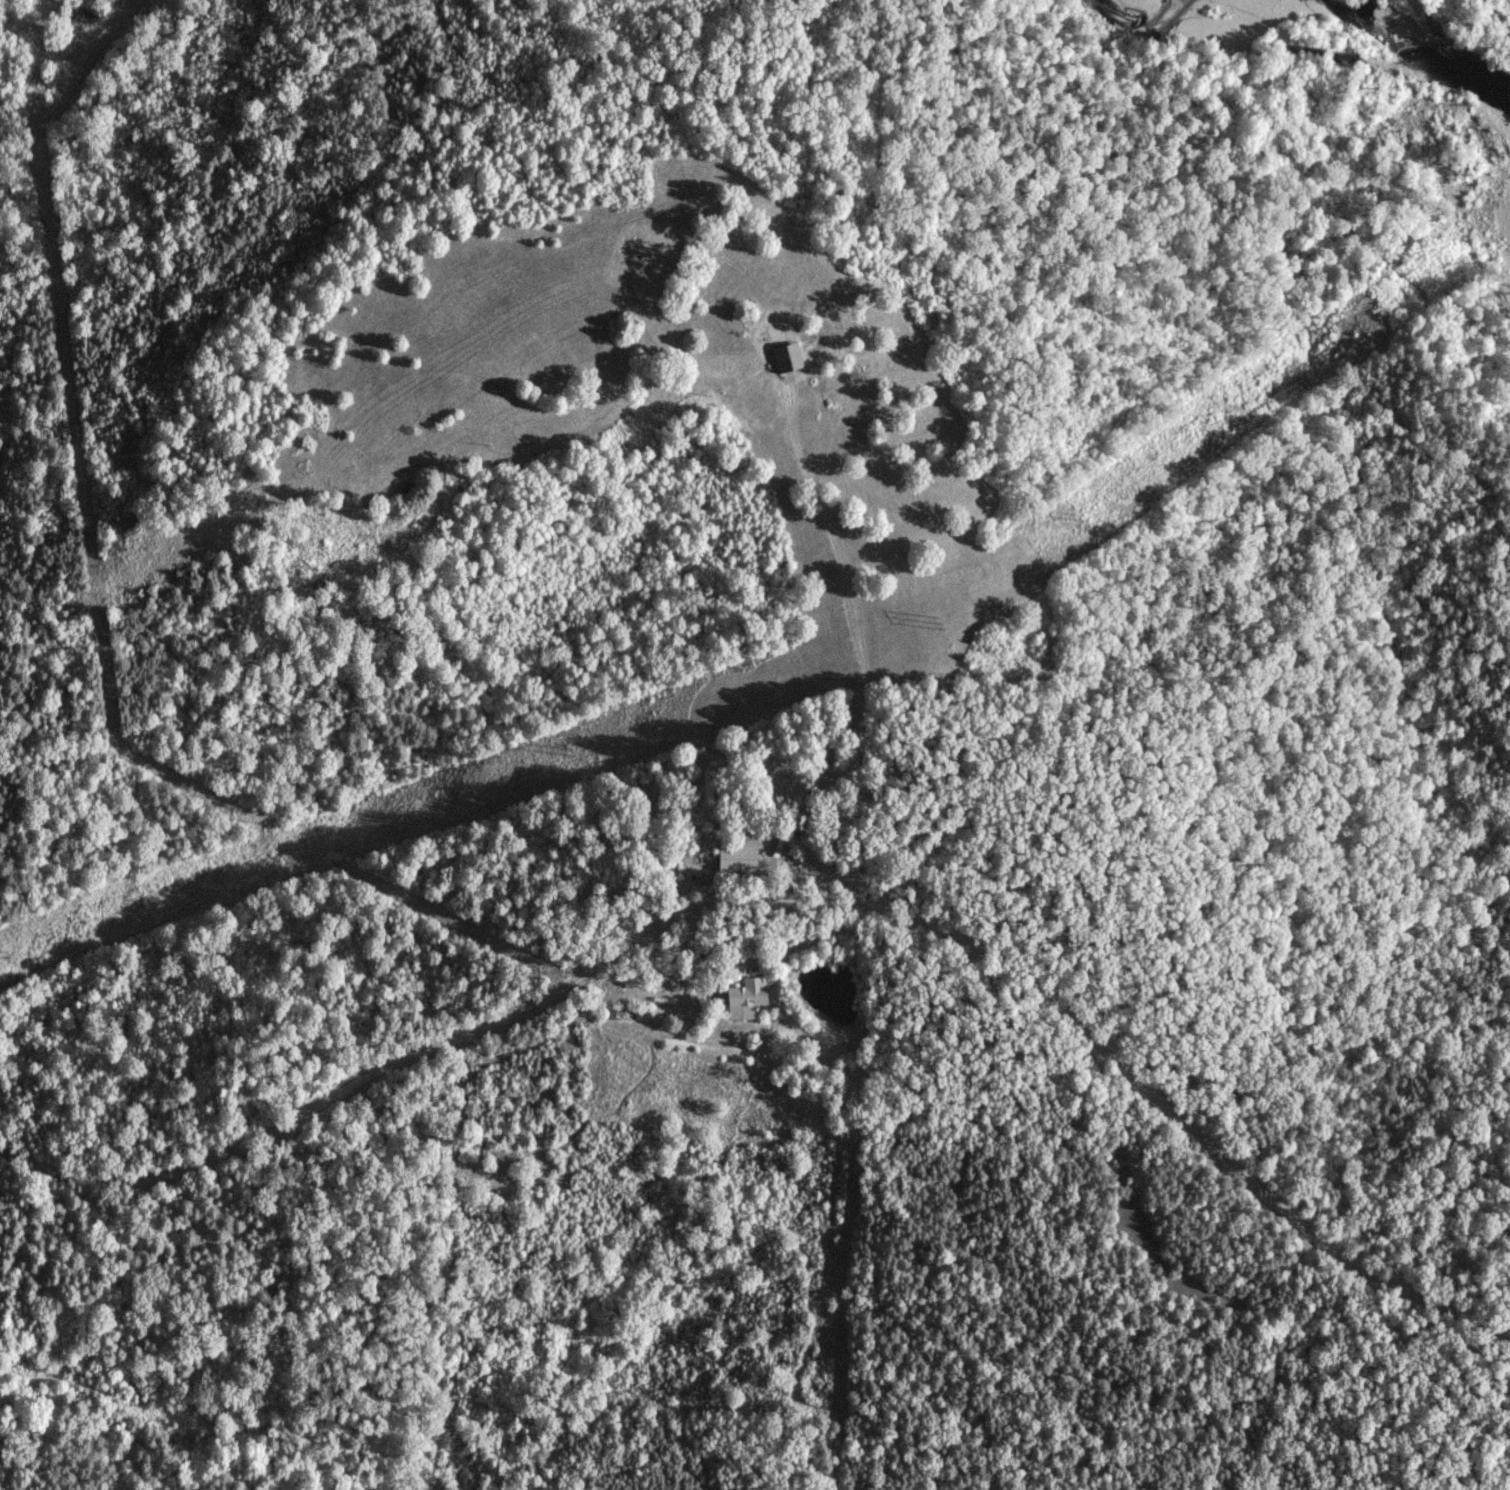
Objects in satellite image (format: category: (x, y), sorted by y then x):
building: (100, 7)
road: (53, 72)
road: (928, 834)
building: (741, 857)
road: (802, 934)
building: (747, 998)

